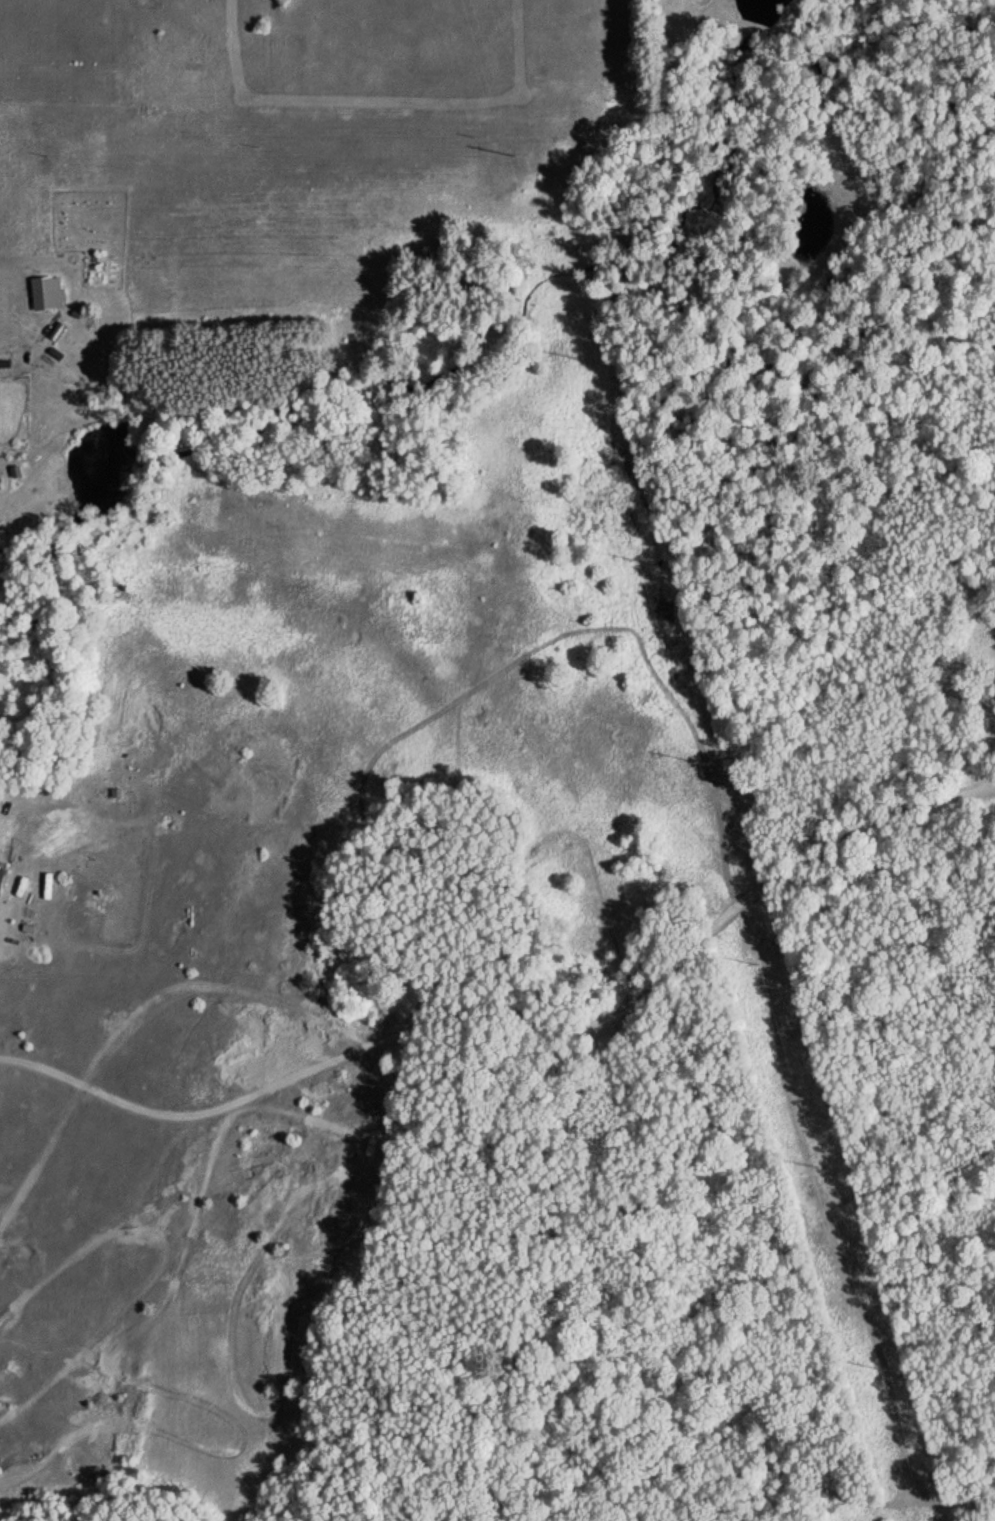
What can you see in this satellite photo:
building: (49, 293)
building: (6, 543)
building: (5, 879)
road: (507, 1233)

